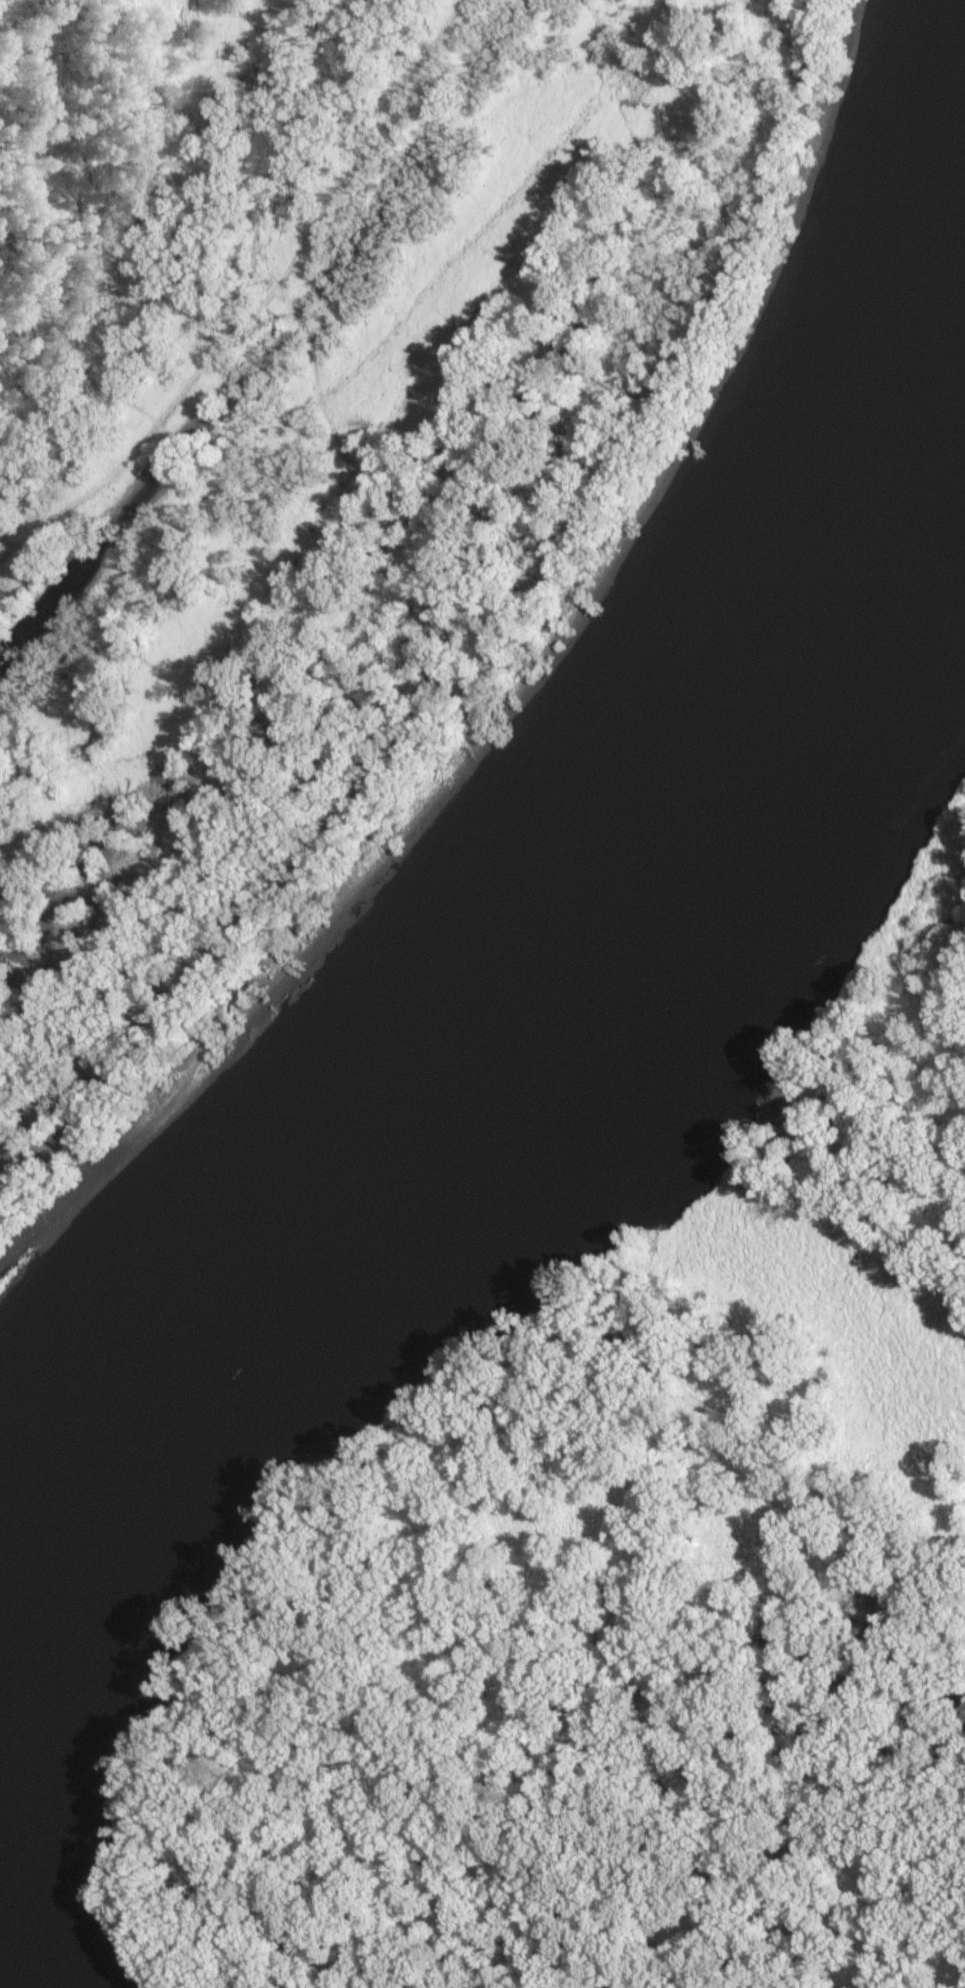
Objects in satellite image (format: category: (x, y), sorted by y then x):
river: (549, 1063)
river: (11, 1885)

